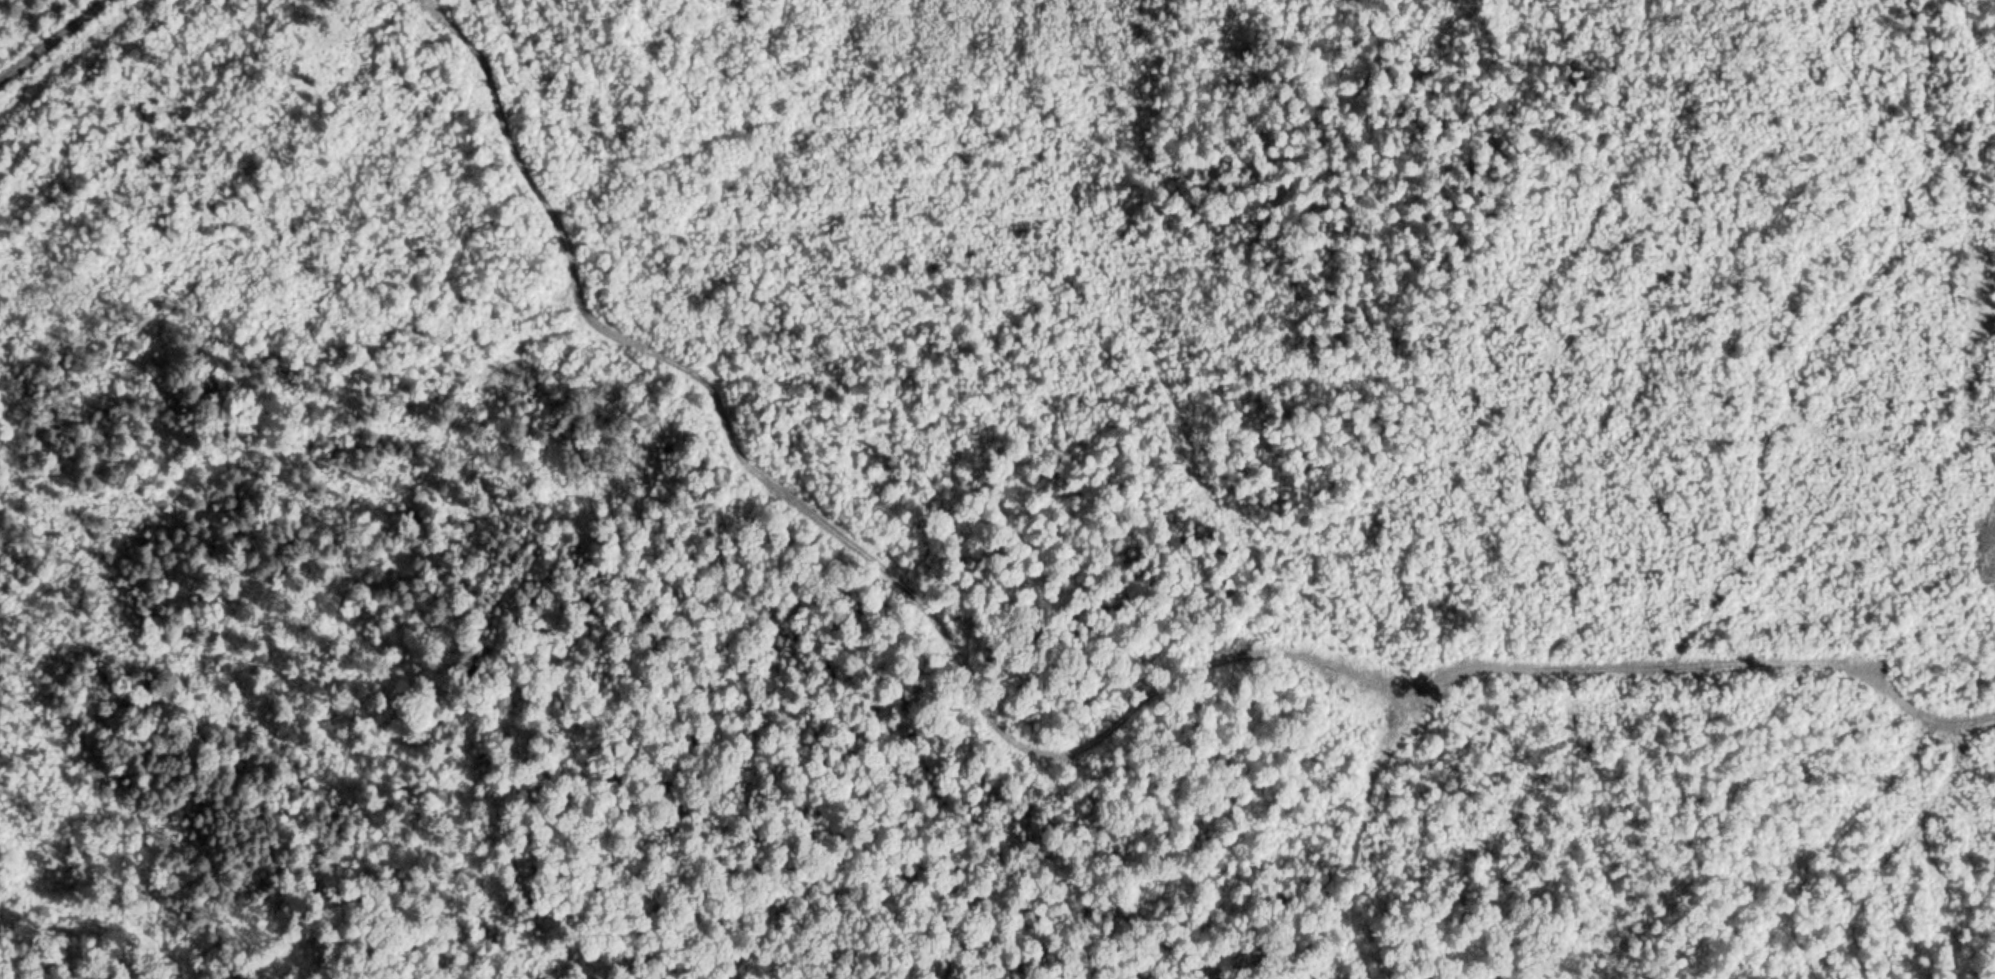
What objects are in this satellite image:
road: (54, 39)

